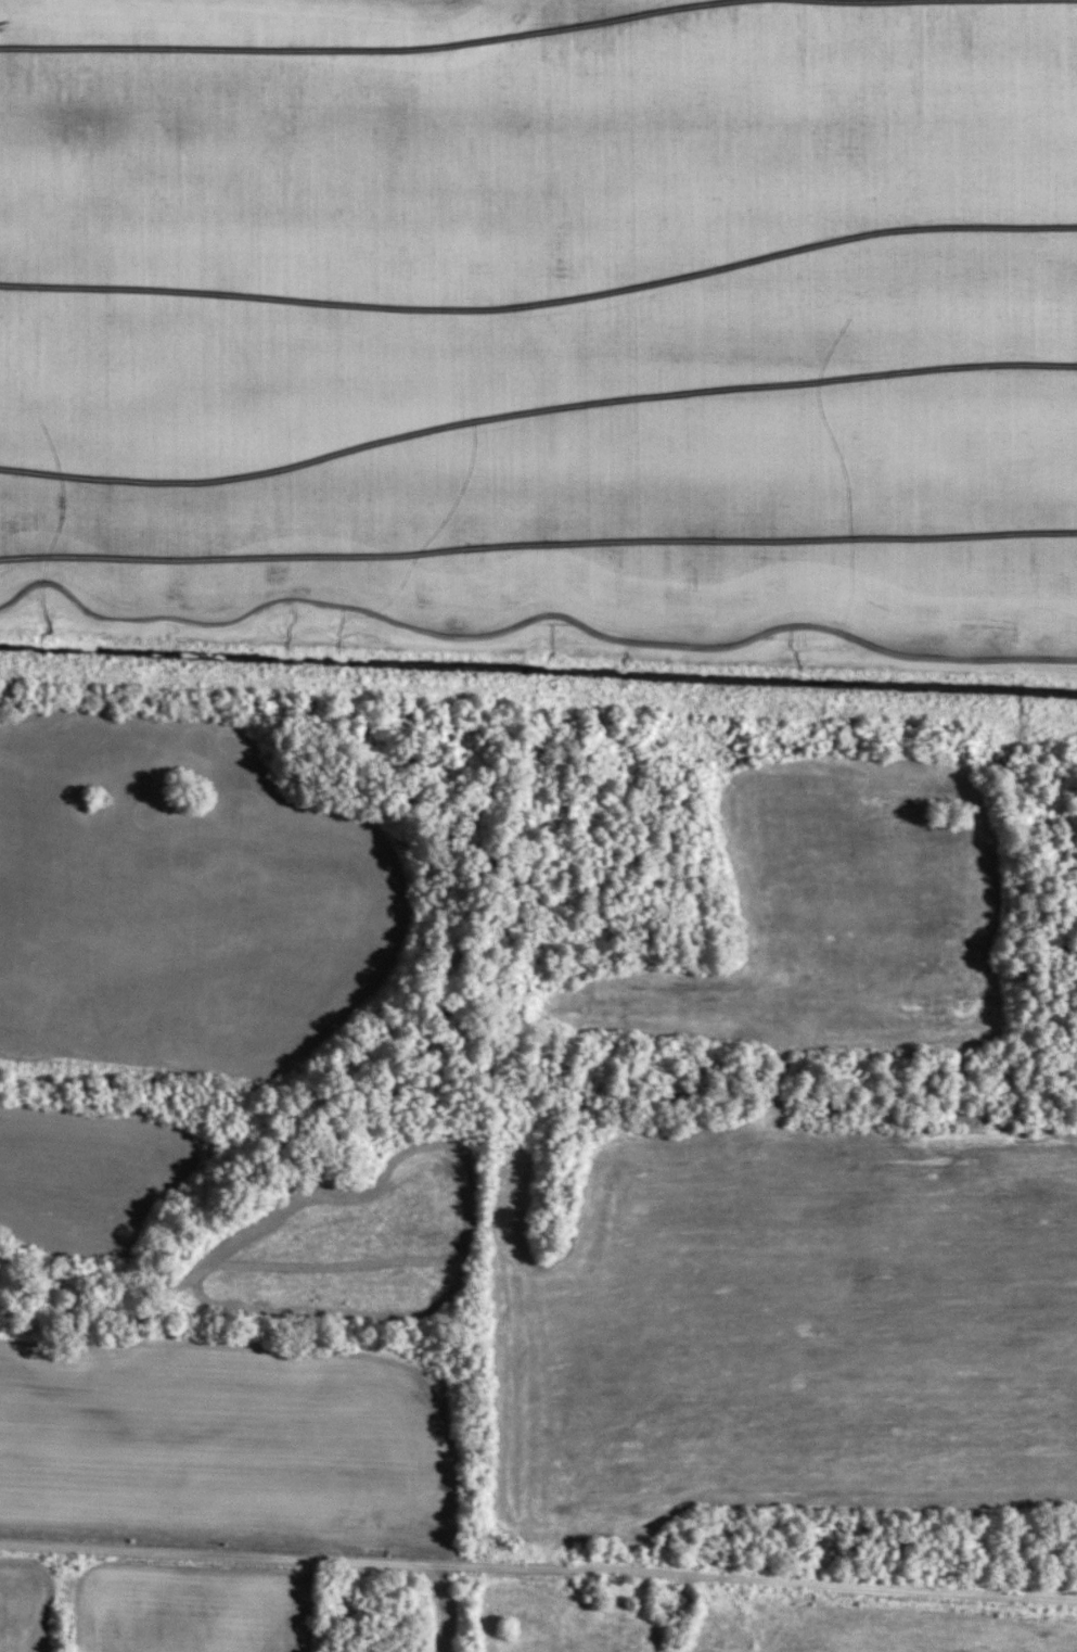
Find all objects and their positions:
road: (538, 1570)

